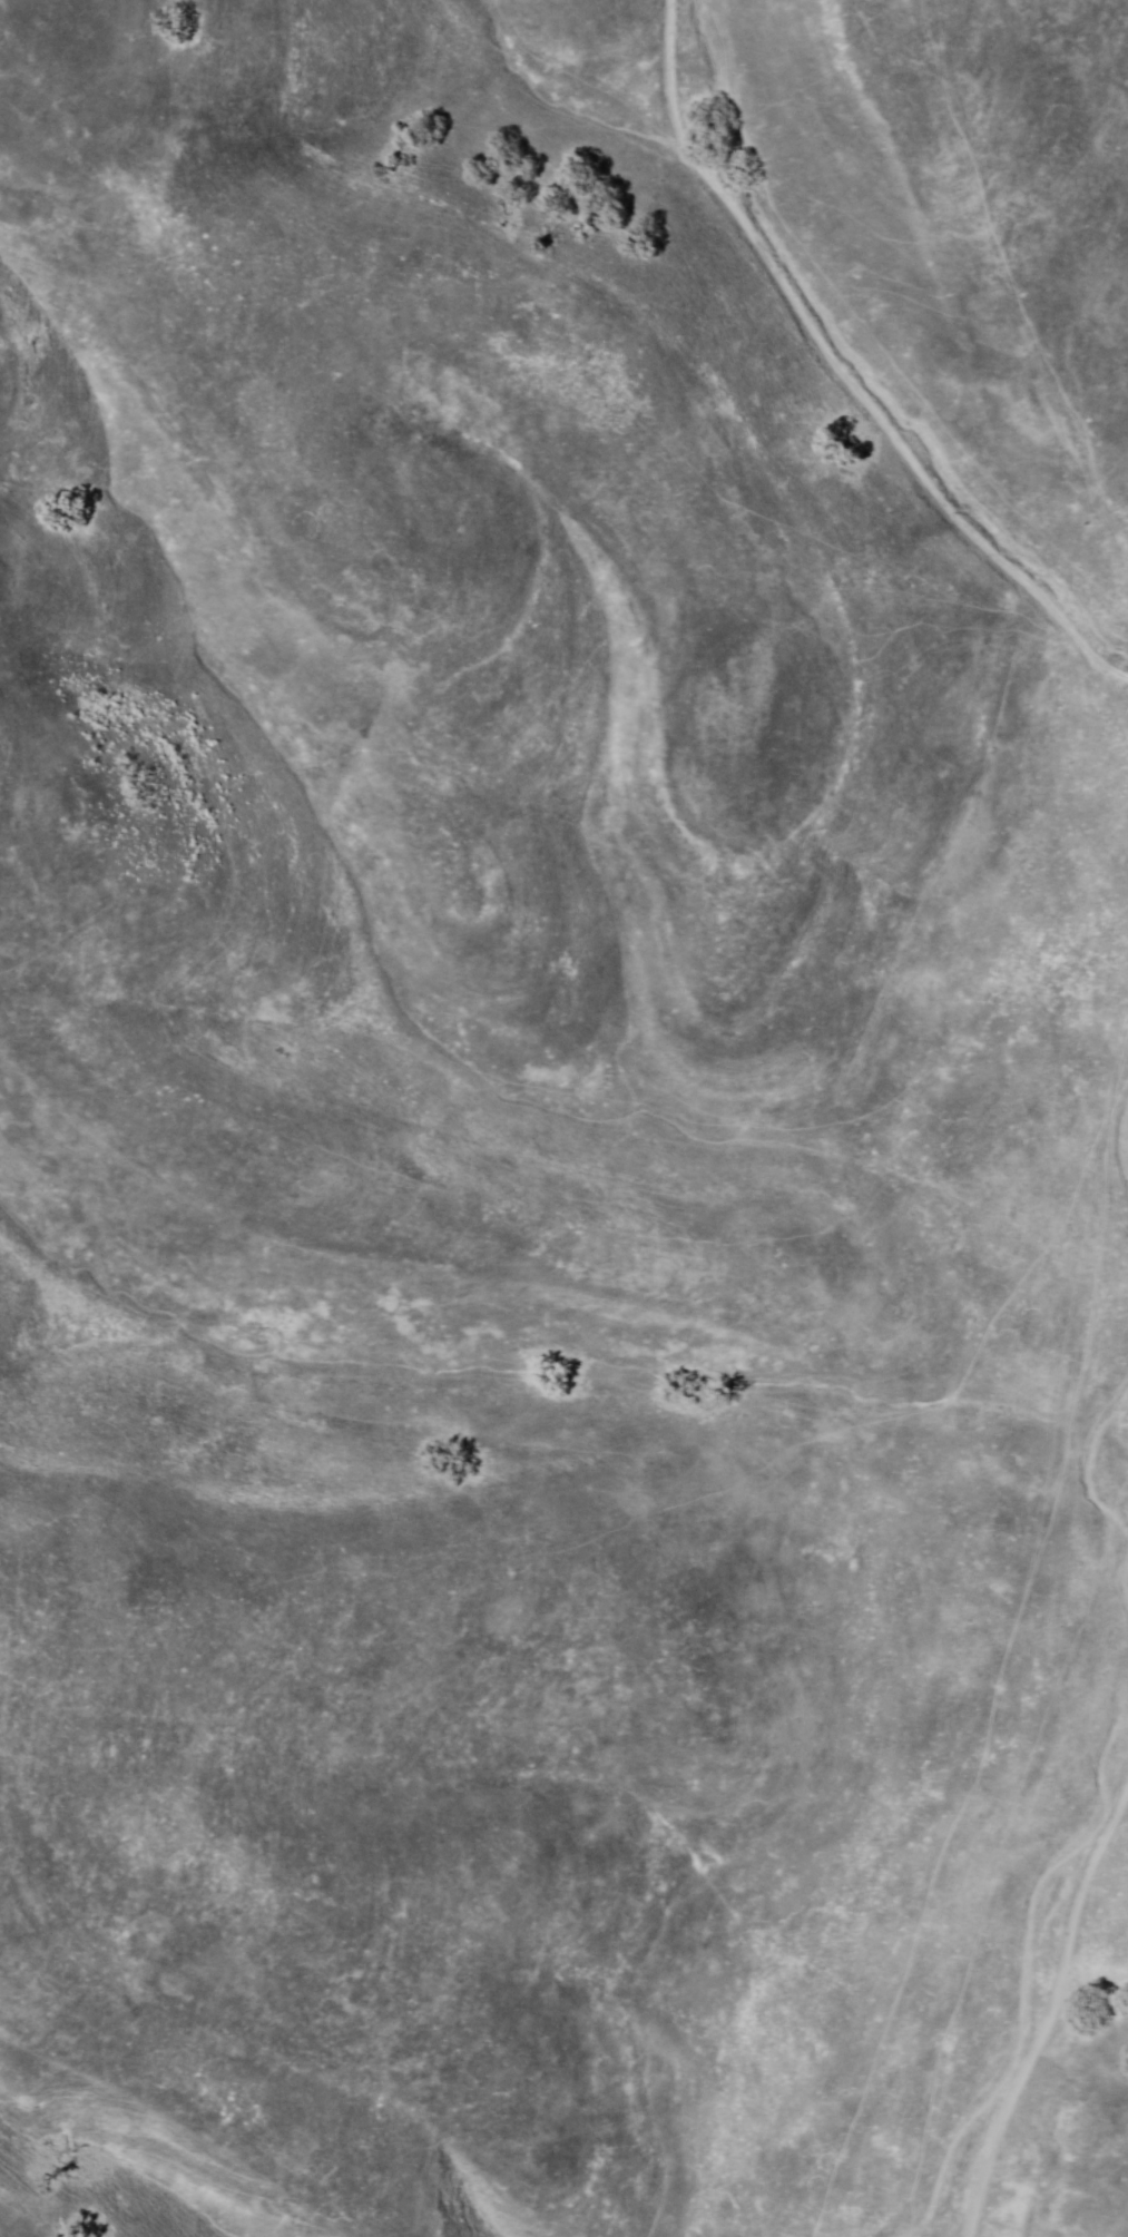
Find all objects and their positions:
road: (830, 375)
road: (1047, 2009)

